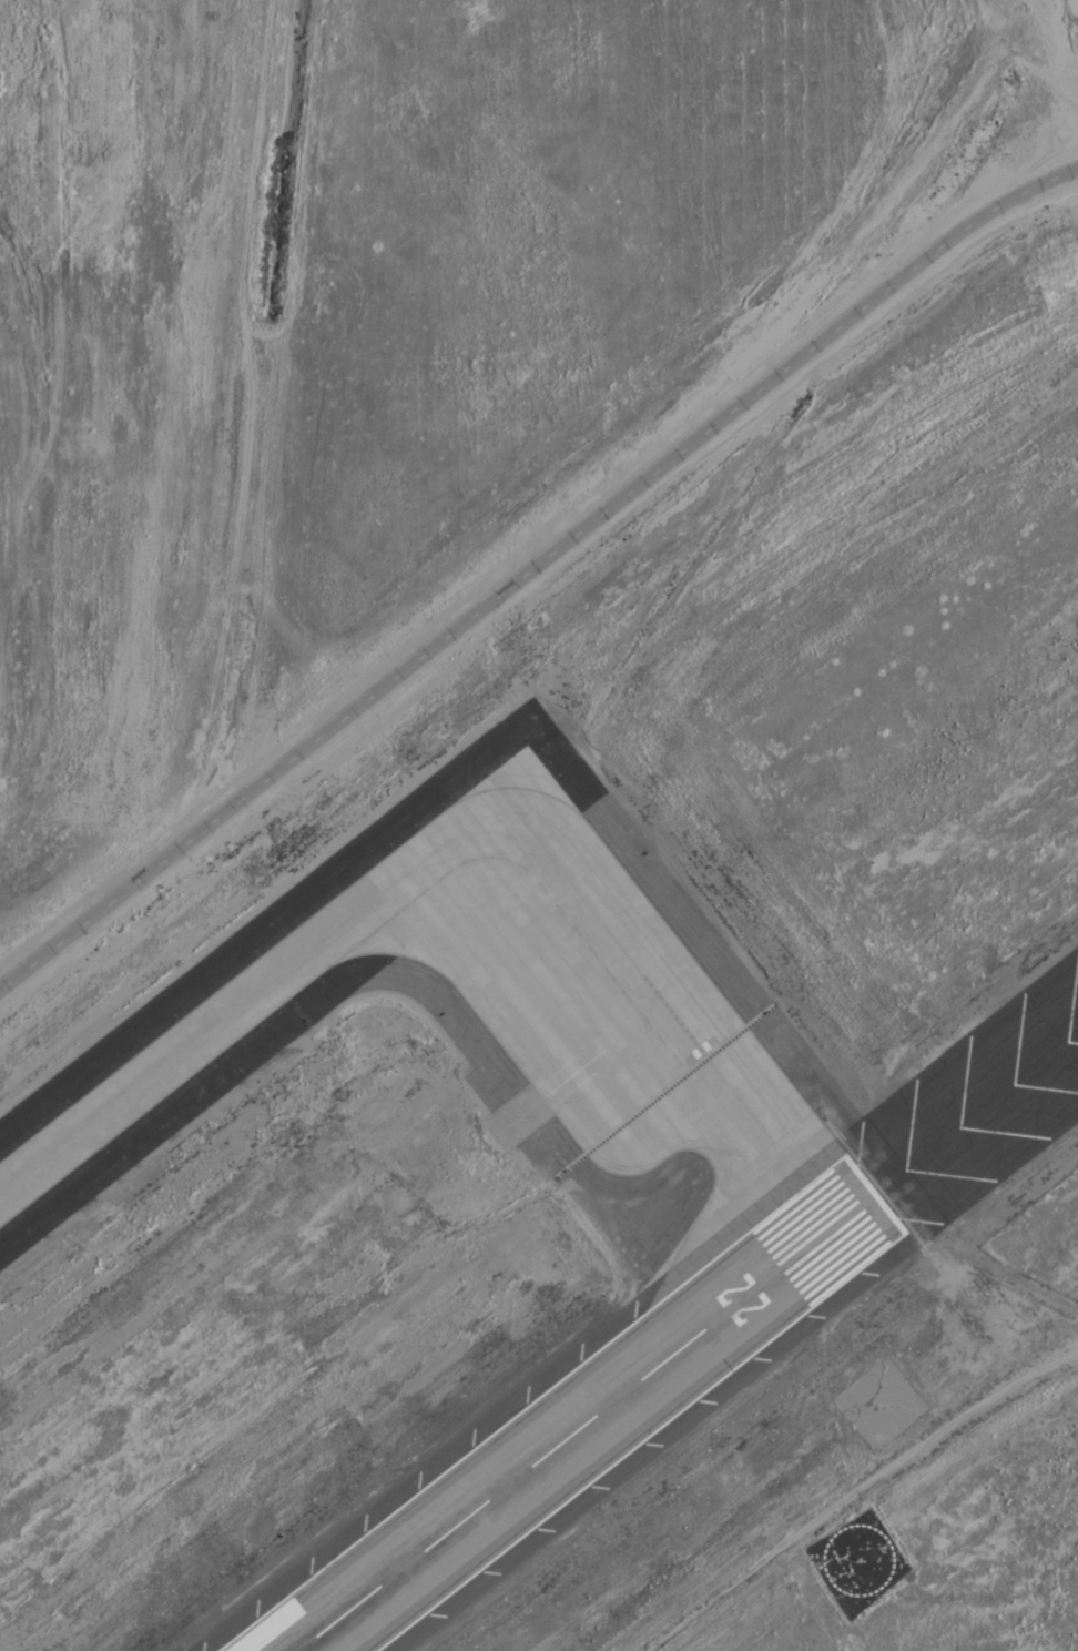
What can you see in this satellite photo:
road: (531, 566)
airport taxiway: (470, 832)
airport runway: (583, 1424)

